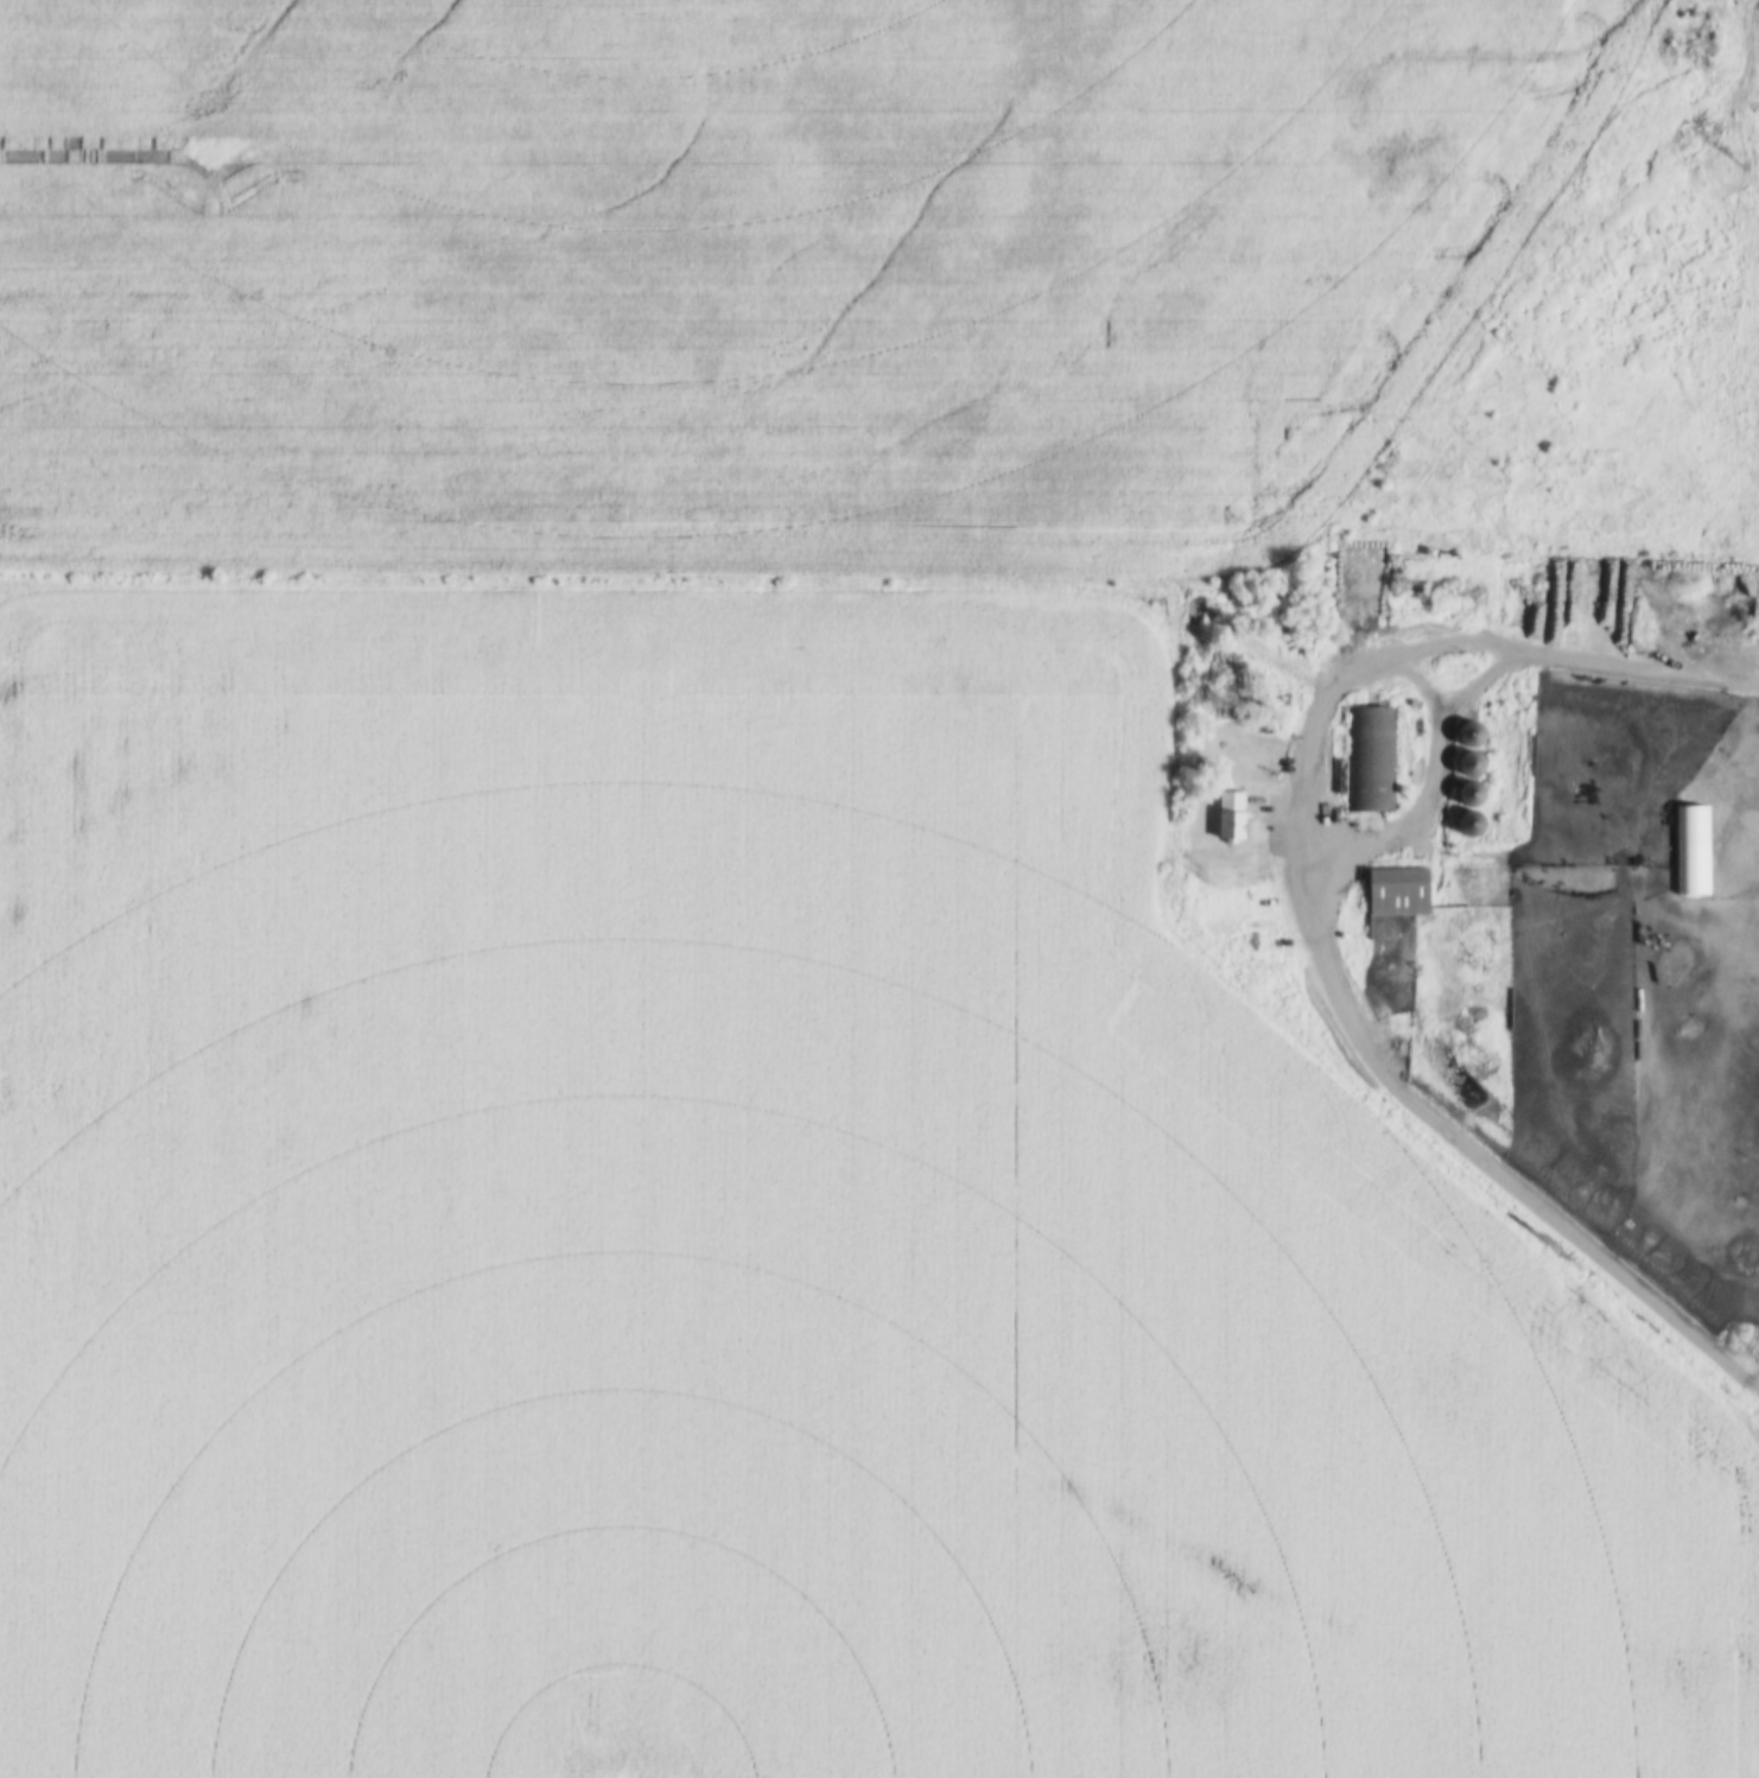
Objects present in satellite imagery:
building: (1372, 761)
building: (1471, 777)
building: (1231, 819)
building: (1399, 893)
road: (1327, 955)
building: (1484, 1068)

